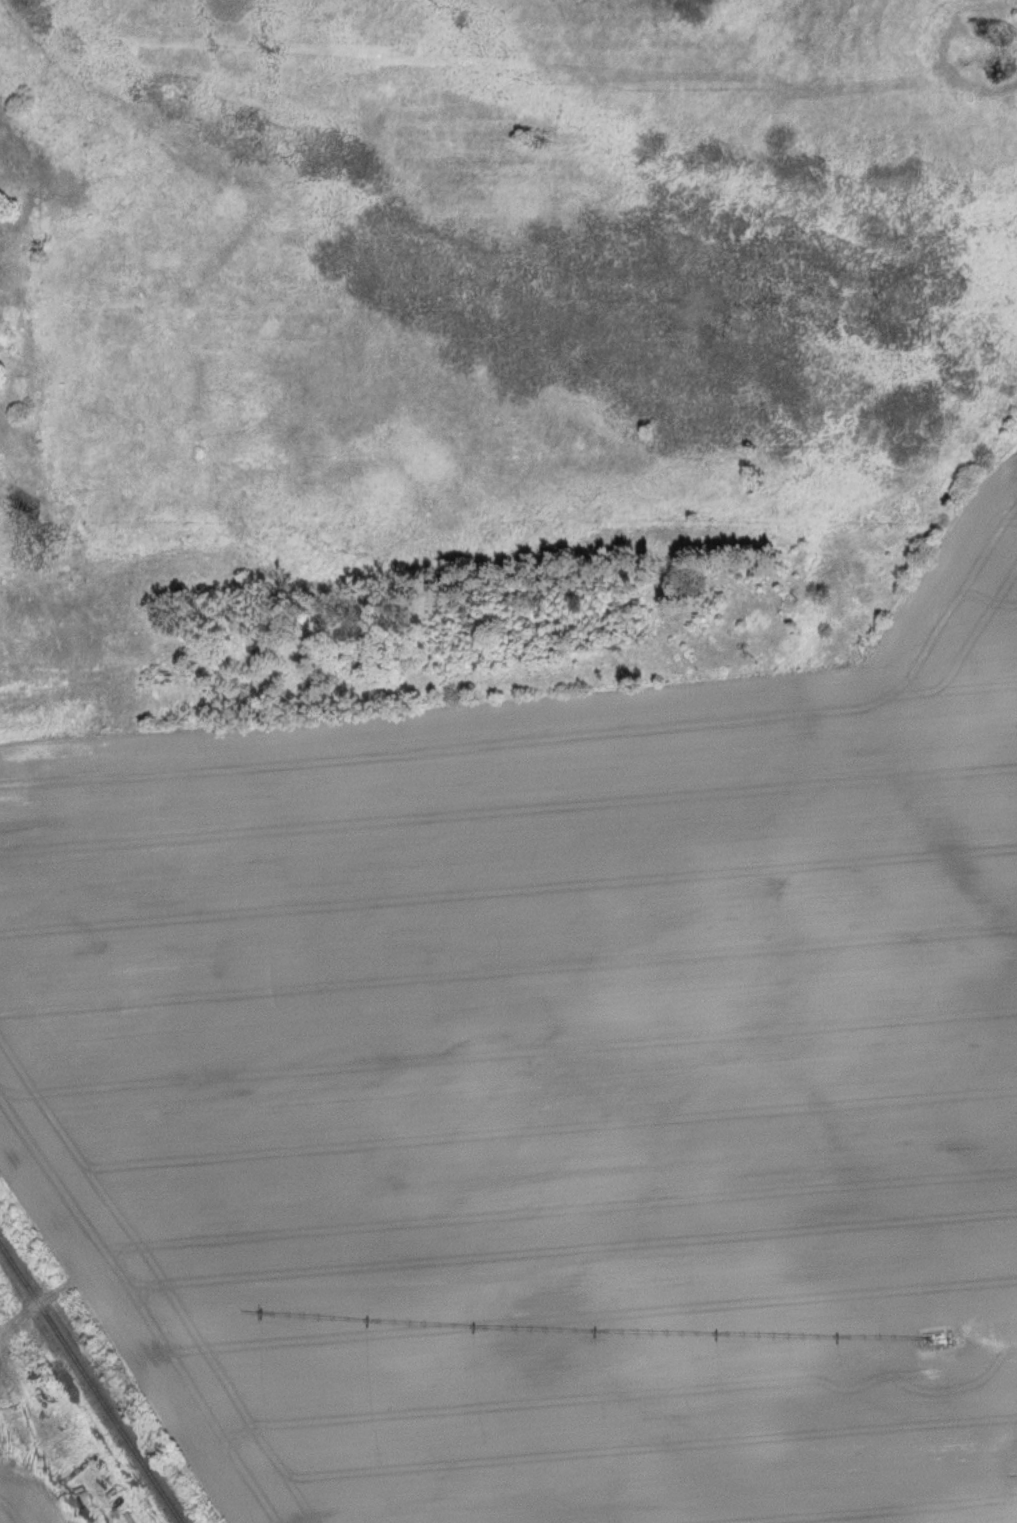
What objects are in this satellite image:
railway: (88, 1387)

